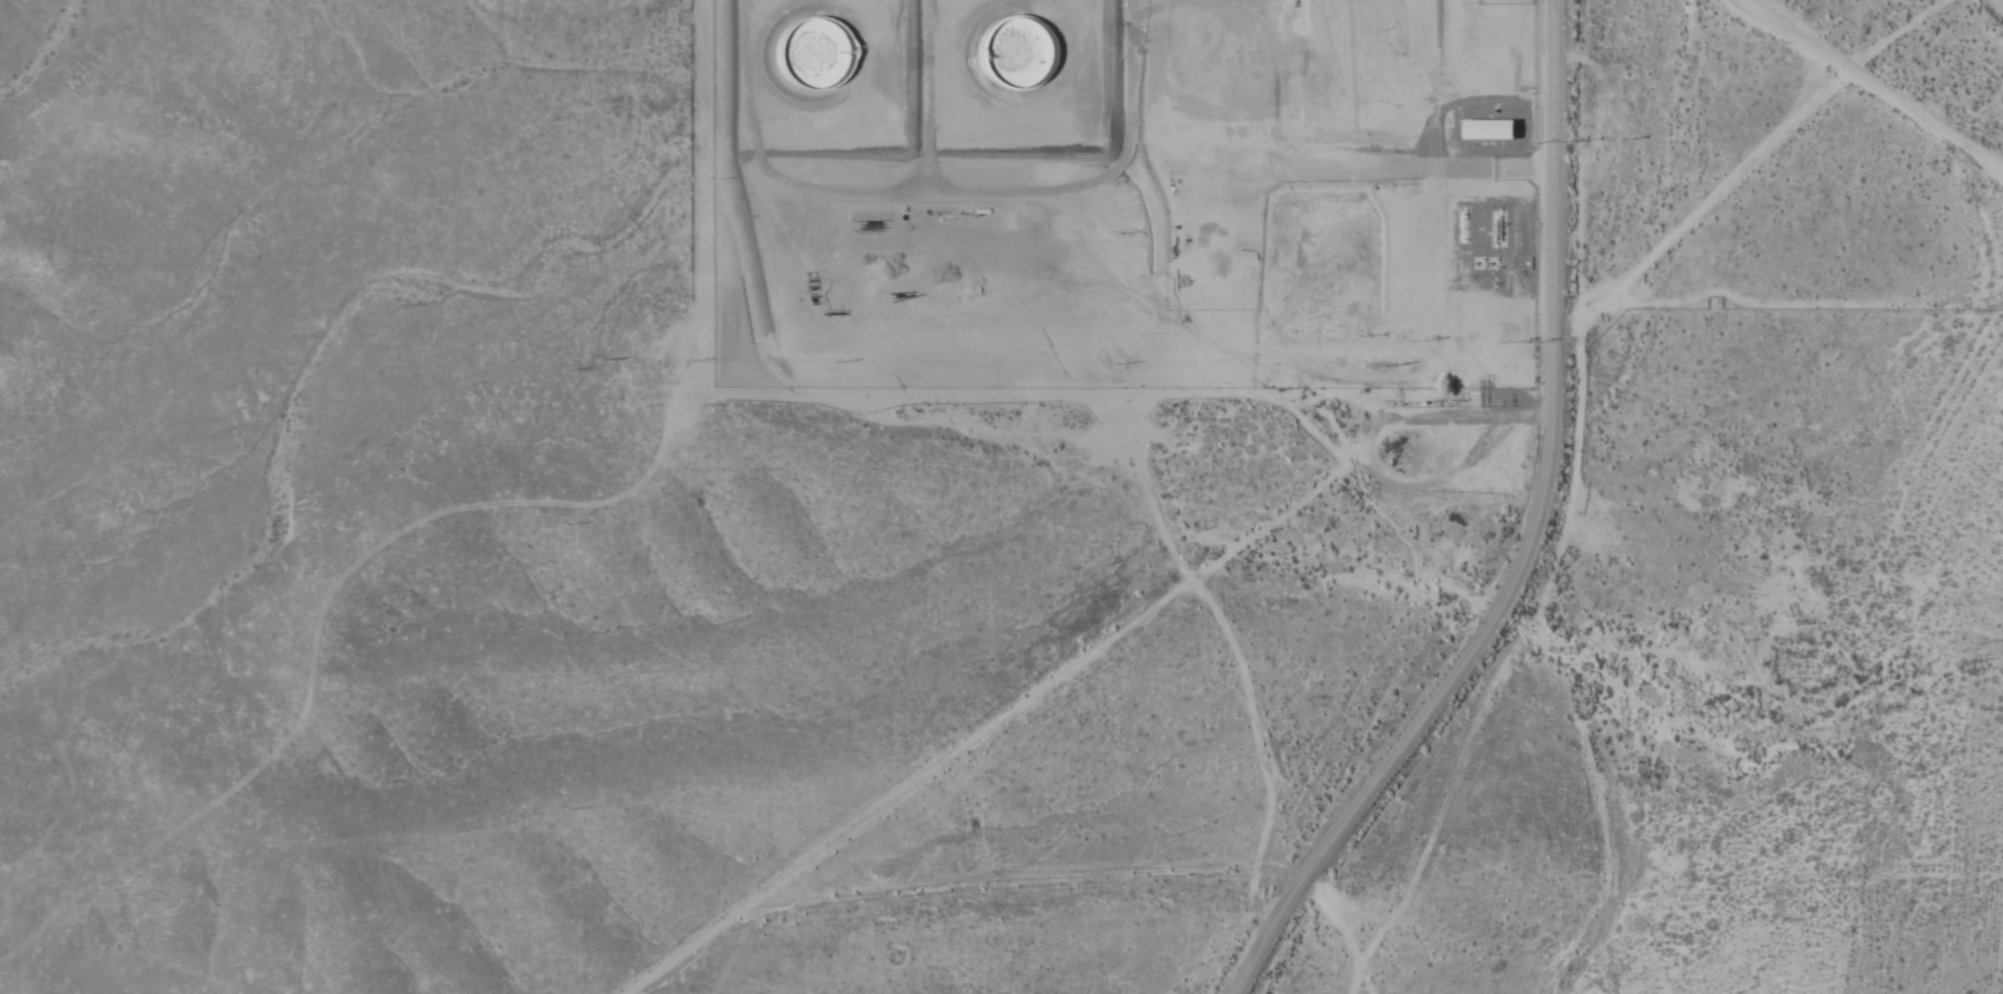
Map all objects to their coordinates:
road: (1565, 6)
building: (1013, 51)
building: (814, 53)
road: (1868, 81)
road: (931, 396)
road: (1534, 541)
road: (1630, 857)

